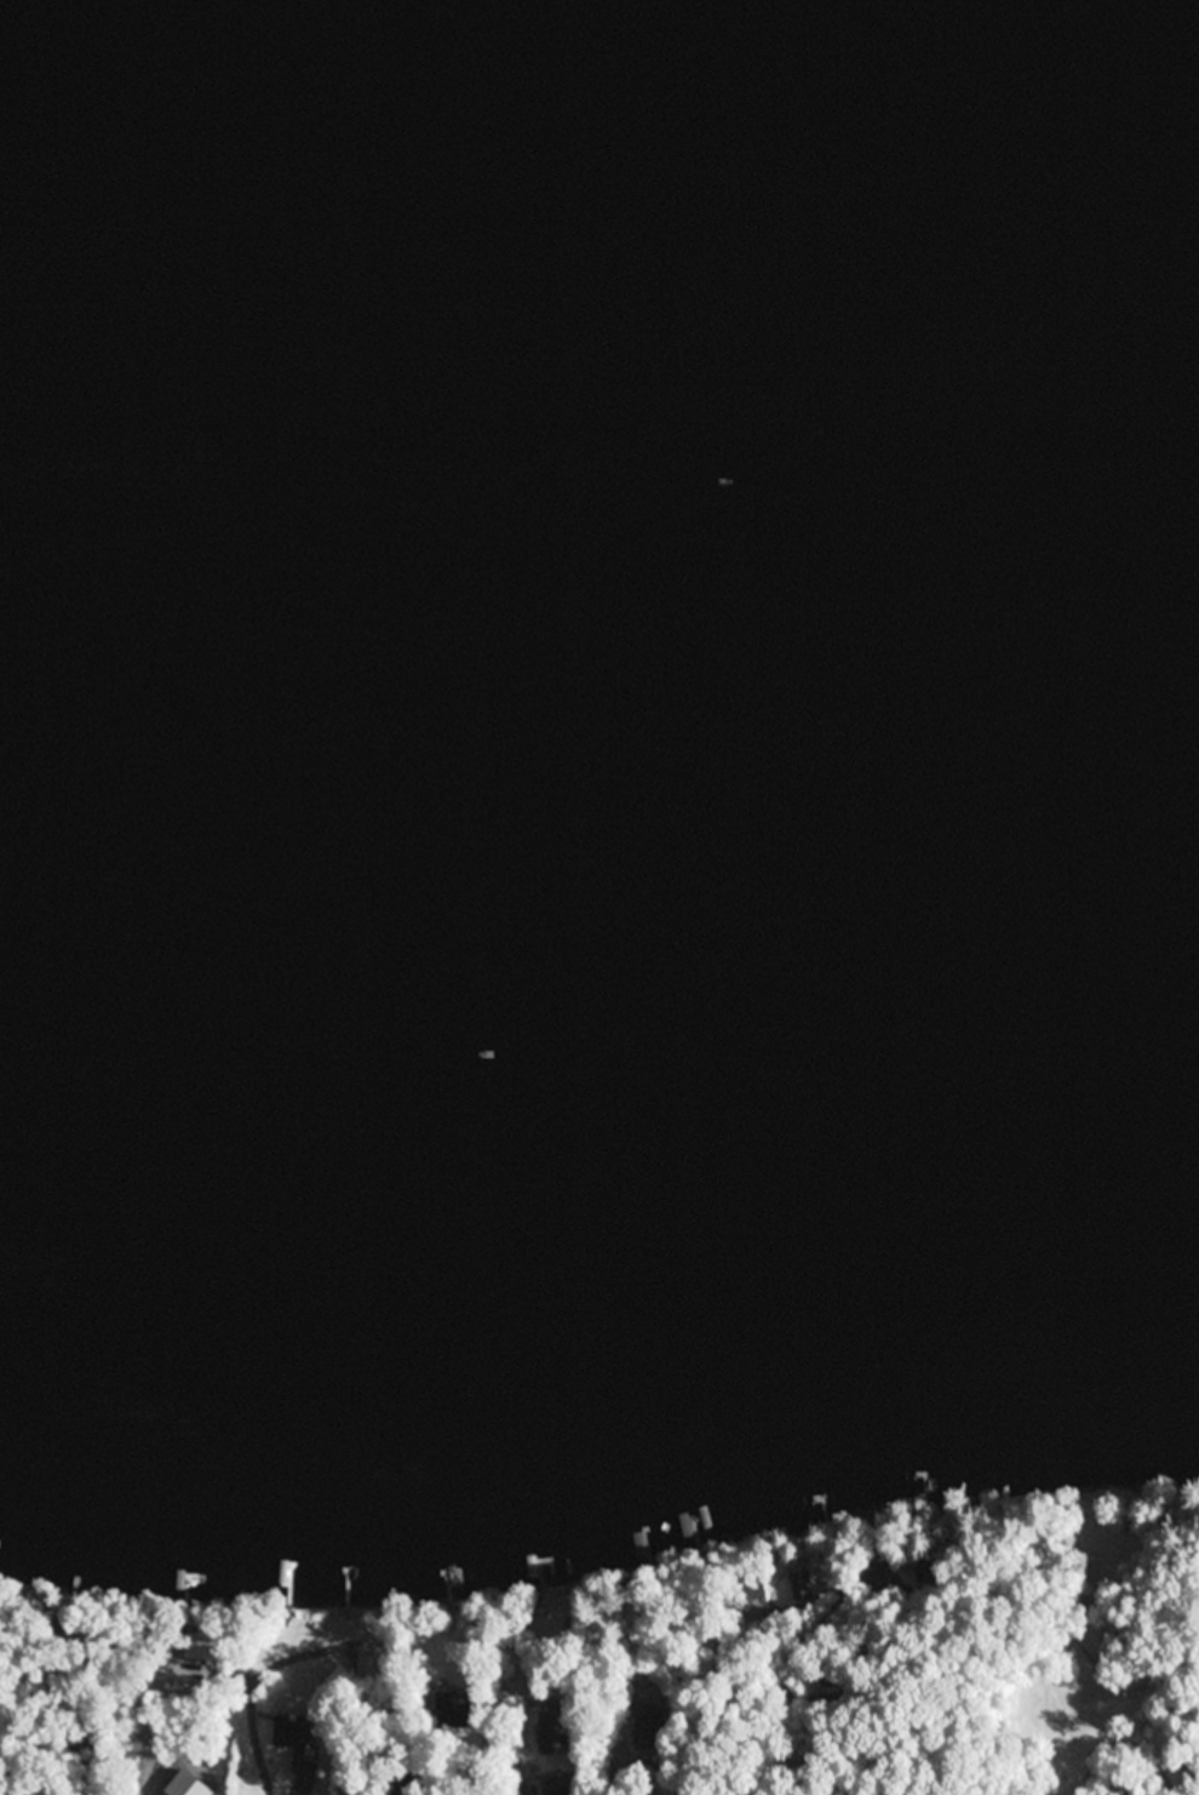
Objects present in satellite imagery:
road: (803, 1704)
road: (1121, 1760)

